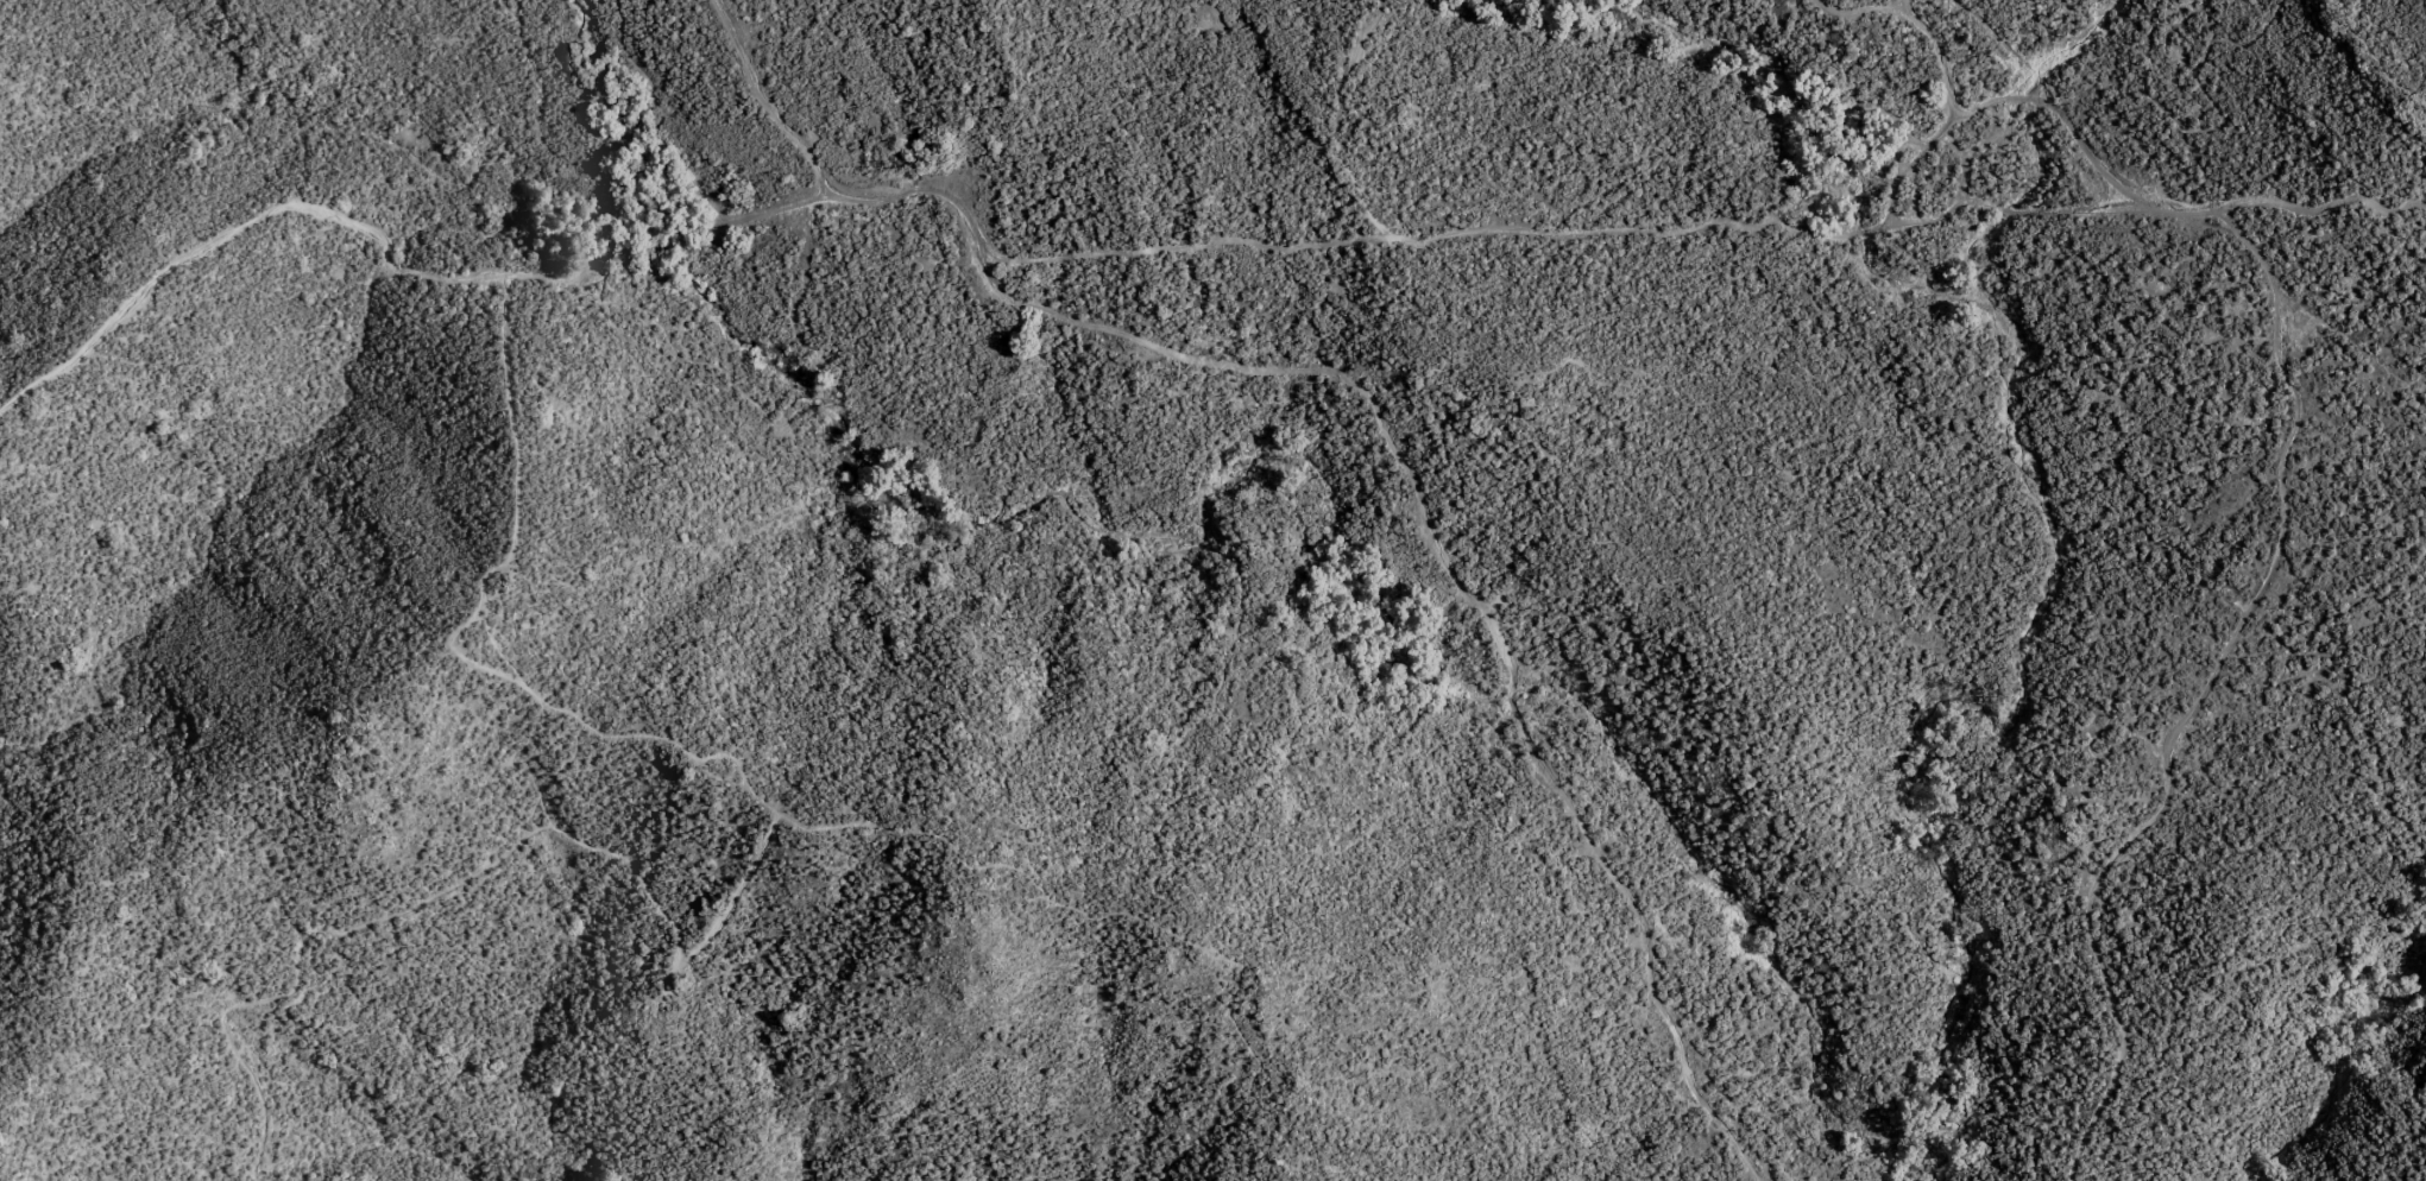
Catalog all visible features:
road: (2281, 500)

